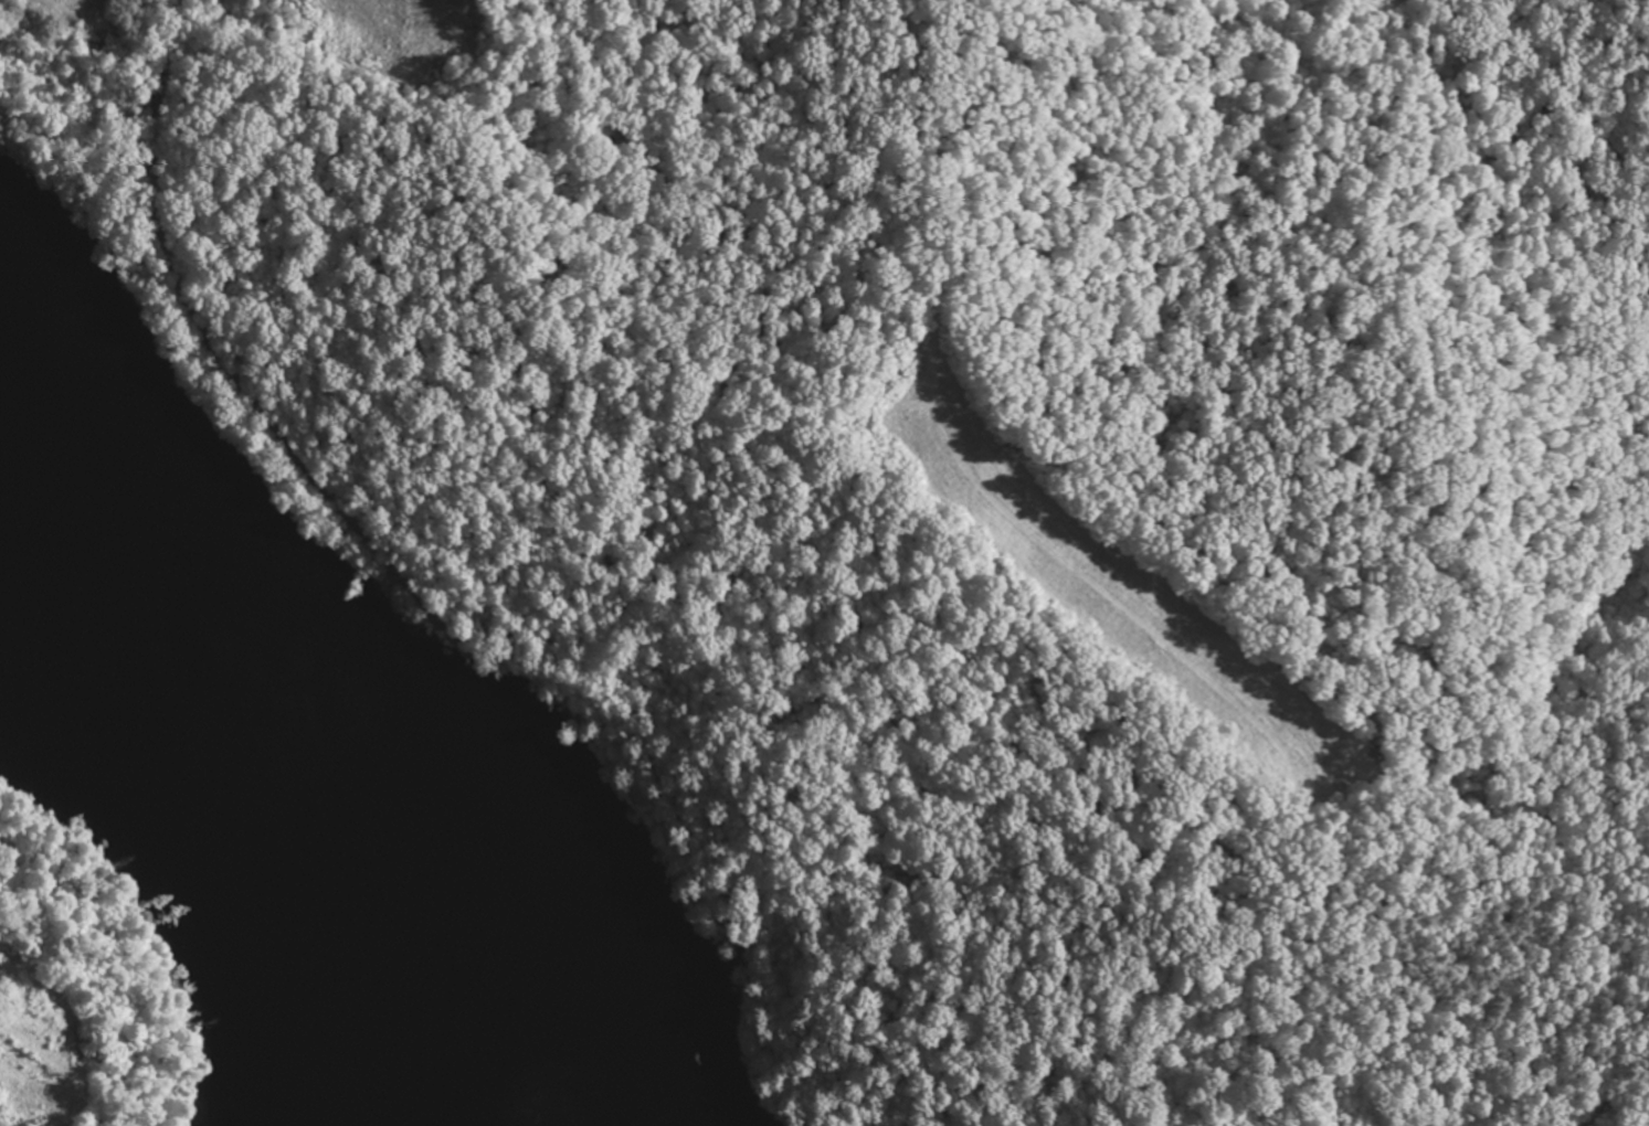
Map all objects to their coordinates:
road: (176, 273)
park: (982, 493)
river: (289, 784)

